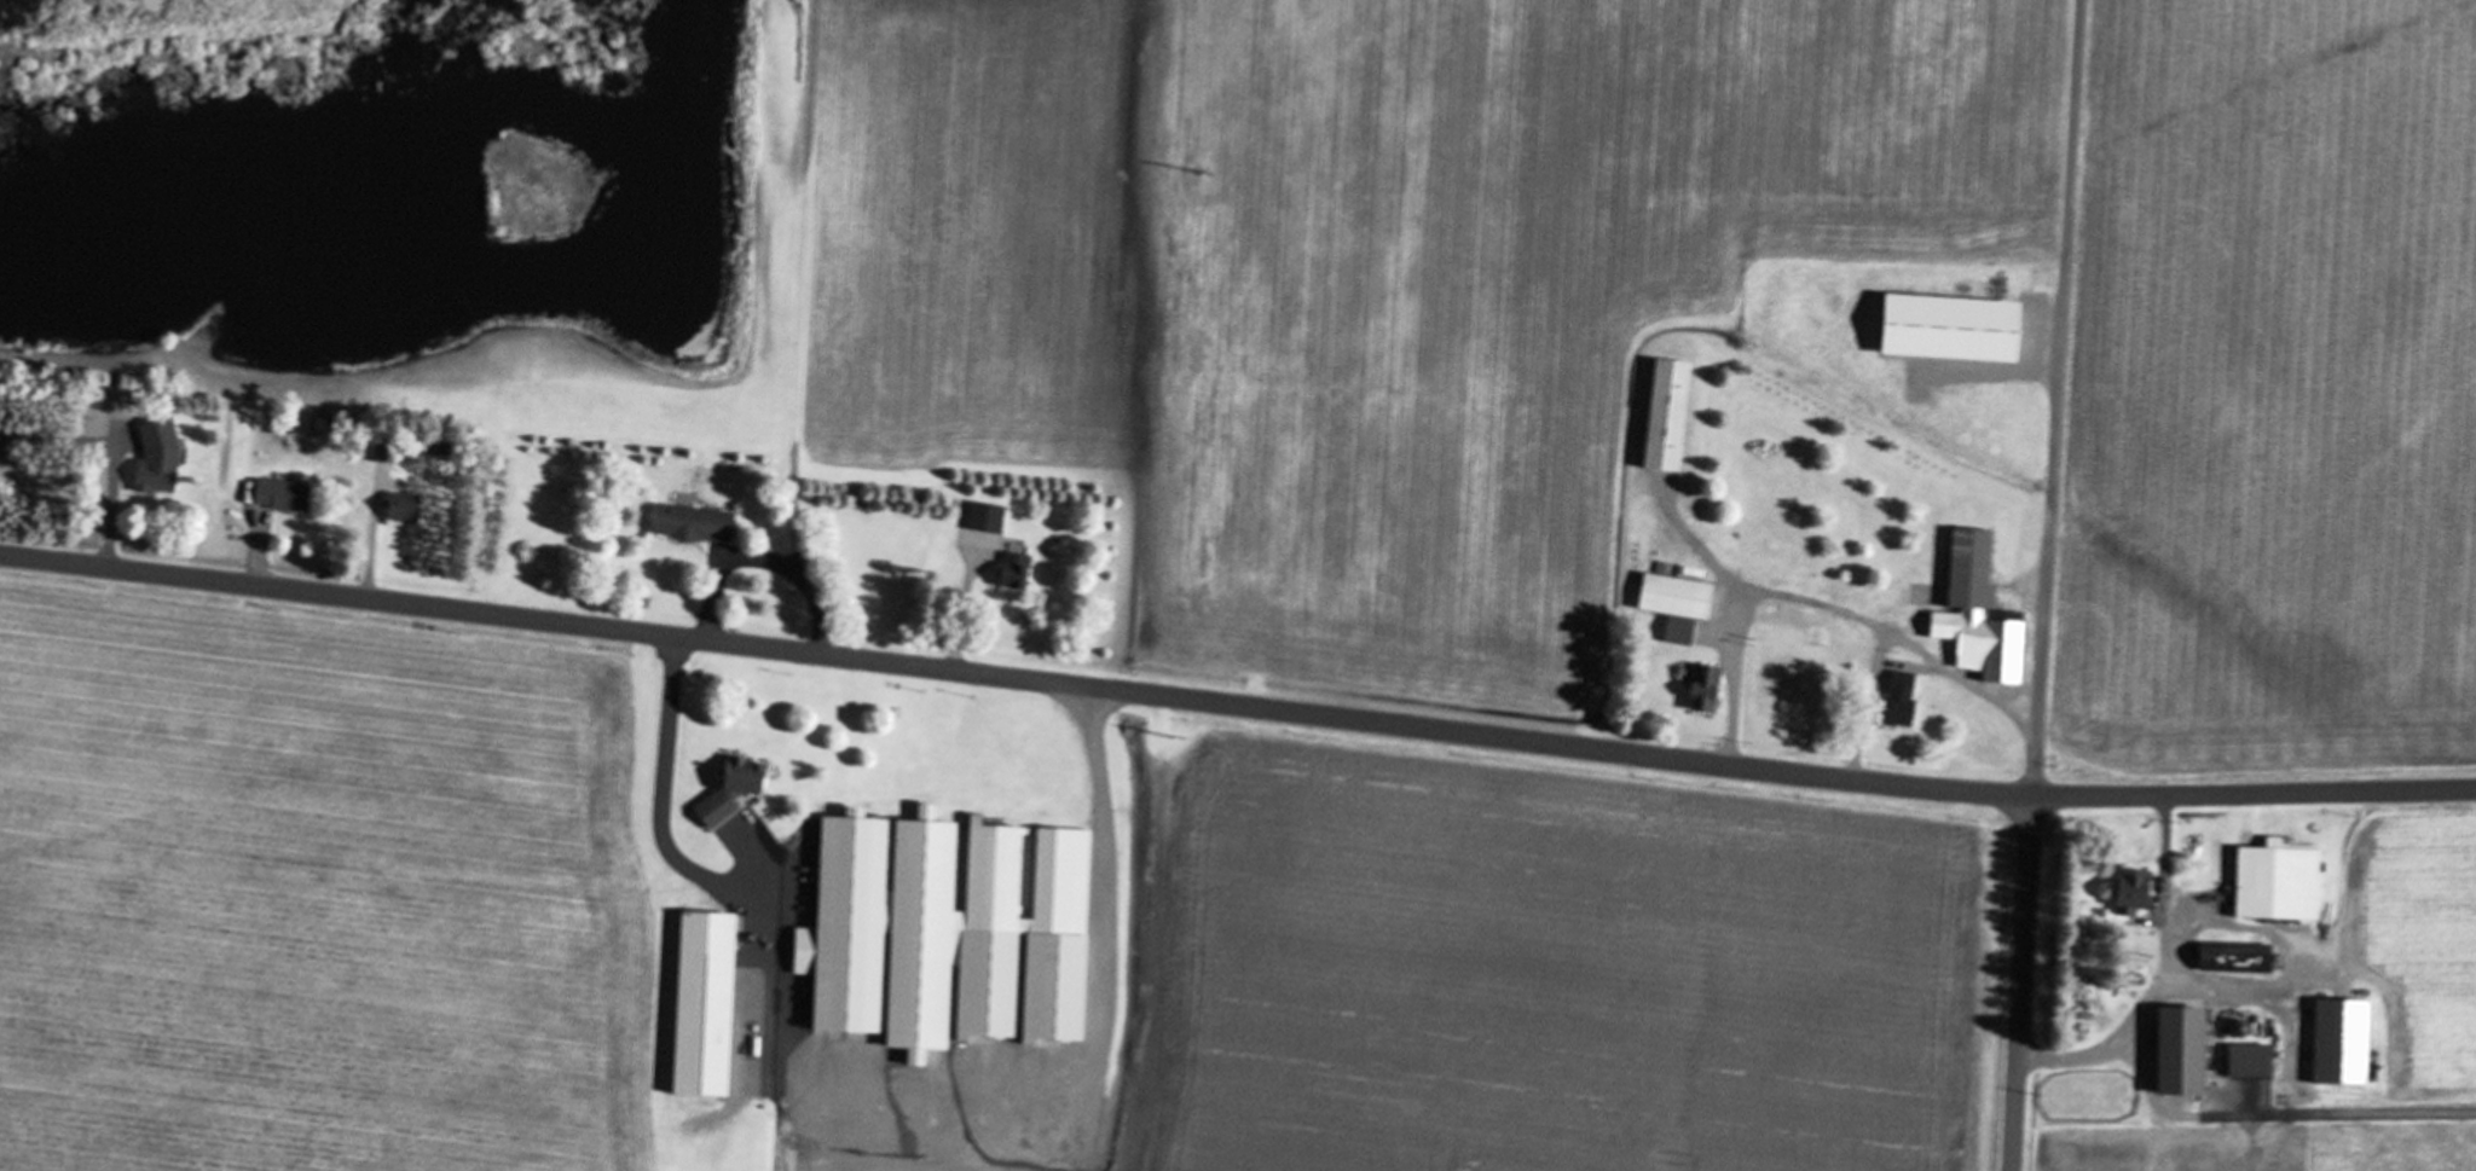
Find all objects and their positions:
power tower: (1207, 176)
building: (1972, 335)
building: (1671, 417)
road: (106, 458)
building: (161, 459)
building: (284, 497)
building: (409, 510)
building: (988, 518)
building: (696, 526)
road: (371, 545)
road: (758, 563)
road: (258, 564)
building: (1017, 573)
road: (2040, 585)
building: (1678, 607)
building: (1982, 615)
road: (960, 616)
road: (1904, 647)
building: (1782, 685)
road: (1730, 692)
building: (1708, 695)
building: (1899, 702)
road: (1236, 707)
power tower: (1174, 738)
road: (1793, 749)
building: (736, 792)
road: (660, 793)
building: (2281, 886)
crop: (317, 887)
road: (1105, 892)
building: (2135, 892)
building: (953, 933)
building: (2237, 958)
crop: (1546, 962)
road: (2160, 979)
building: (708, 1005)
building: (2343, 1043)
building: (2189, 1053)

